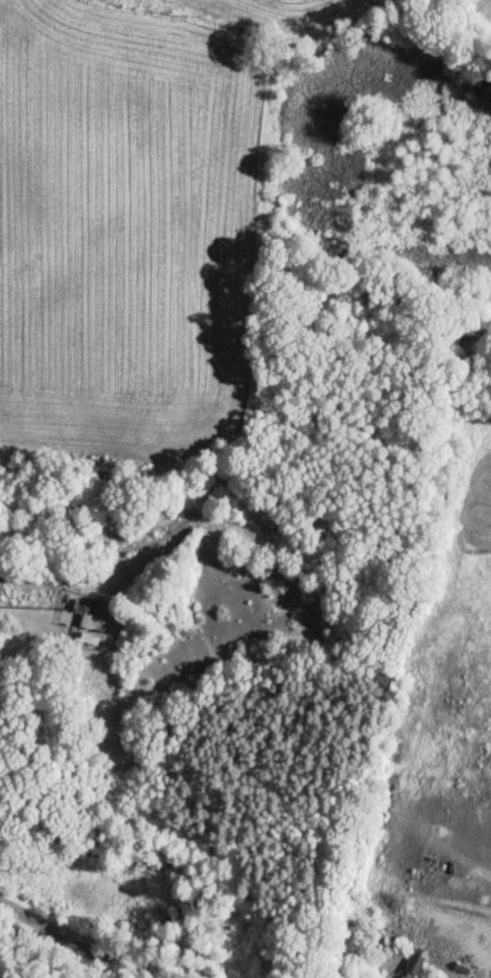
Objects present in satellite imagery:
building: (94, 625)
road: (74, 940)
building: (413, 964)

